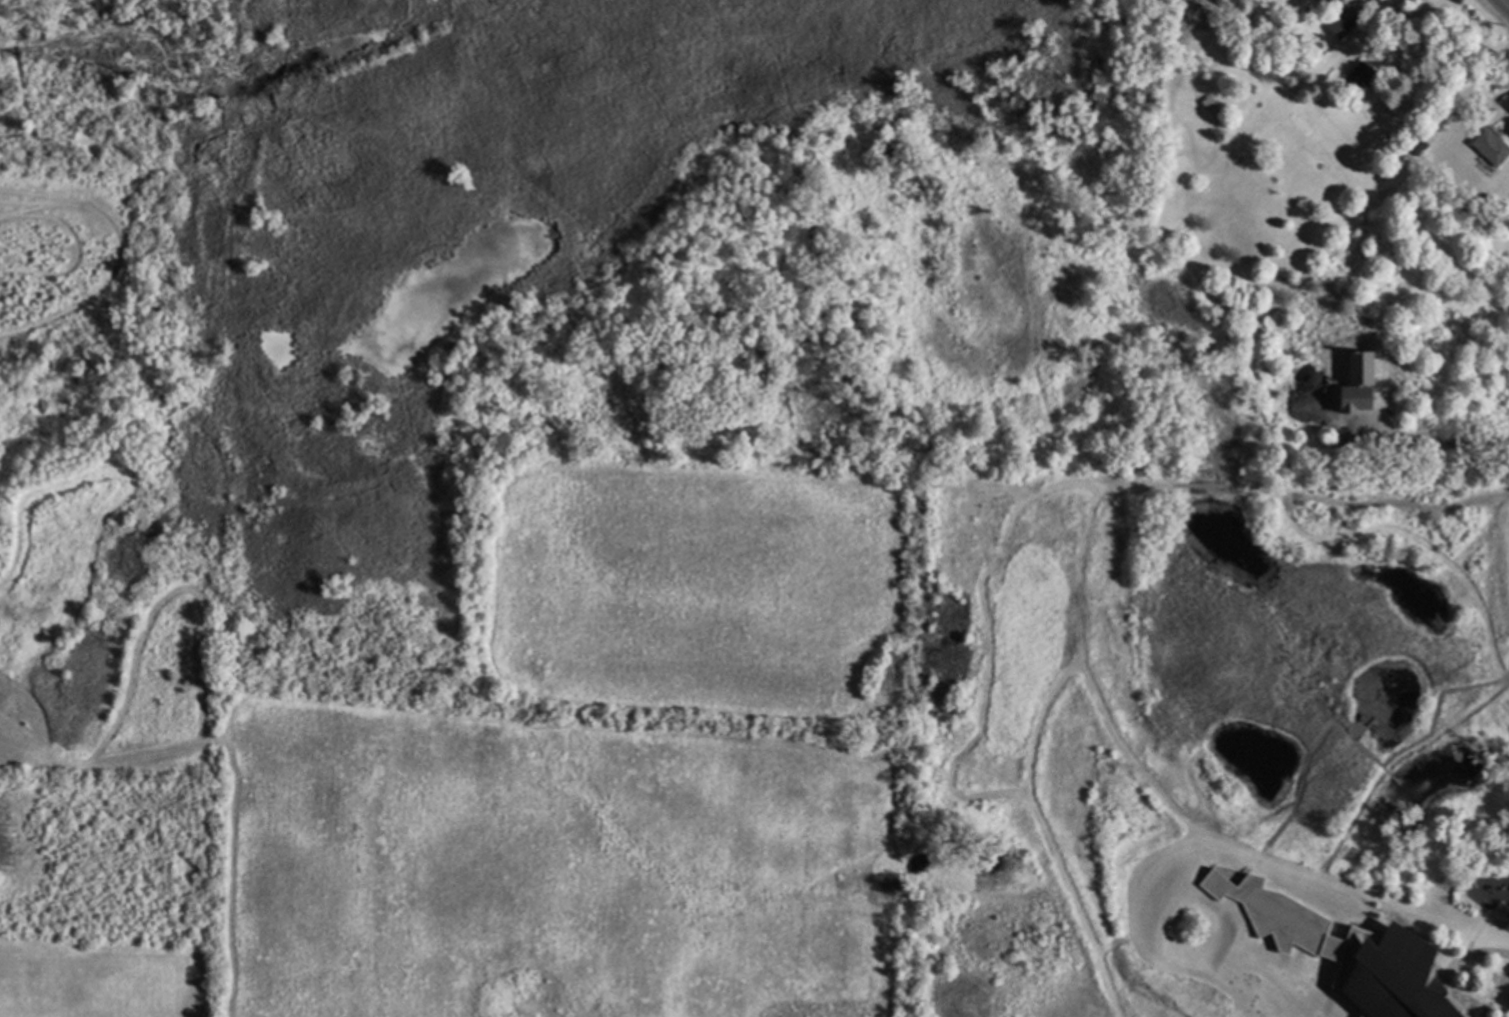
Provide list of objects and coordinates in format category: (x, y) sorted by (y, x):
building: (1339, 0)
building: (1345, 0)
road: (1503, 5)
building: (1350, 20)
building: (1361, 75)
road: (1452, 105)
building: (1216, 109)
building: (1487, 110)
building: (1420, 145)
building: (1492, 146)
building: (1359, 369)
building: (1353, 400)
road: (1435, 440)
crop: (574, 772)
building: (1347, 950)

